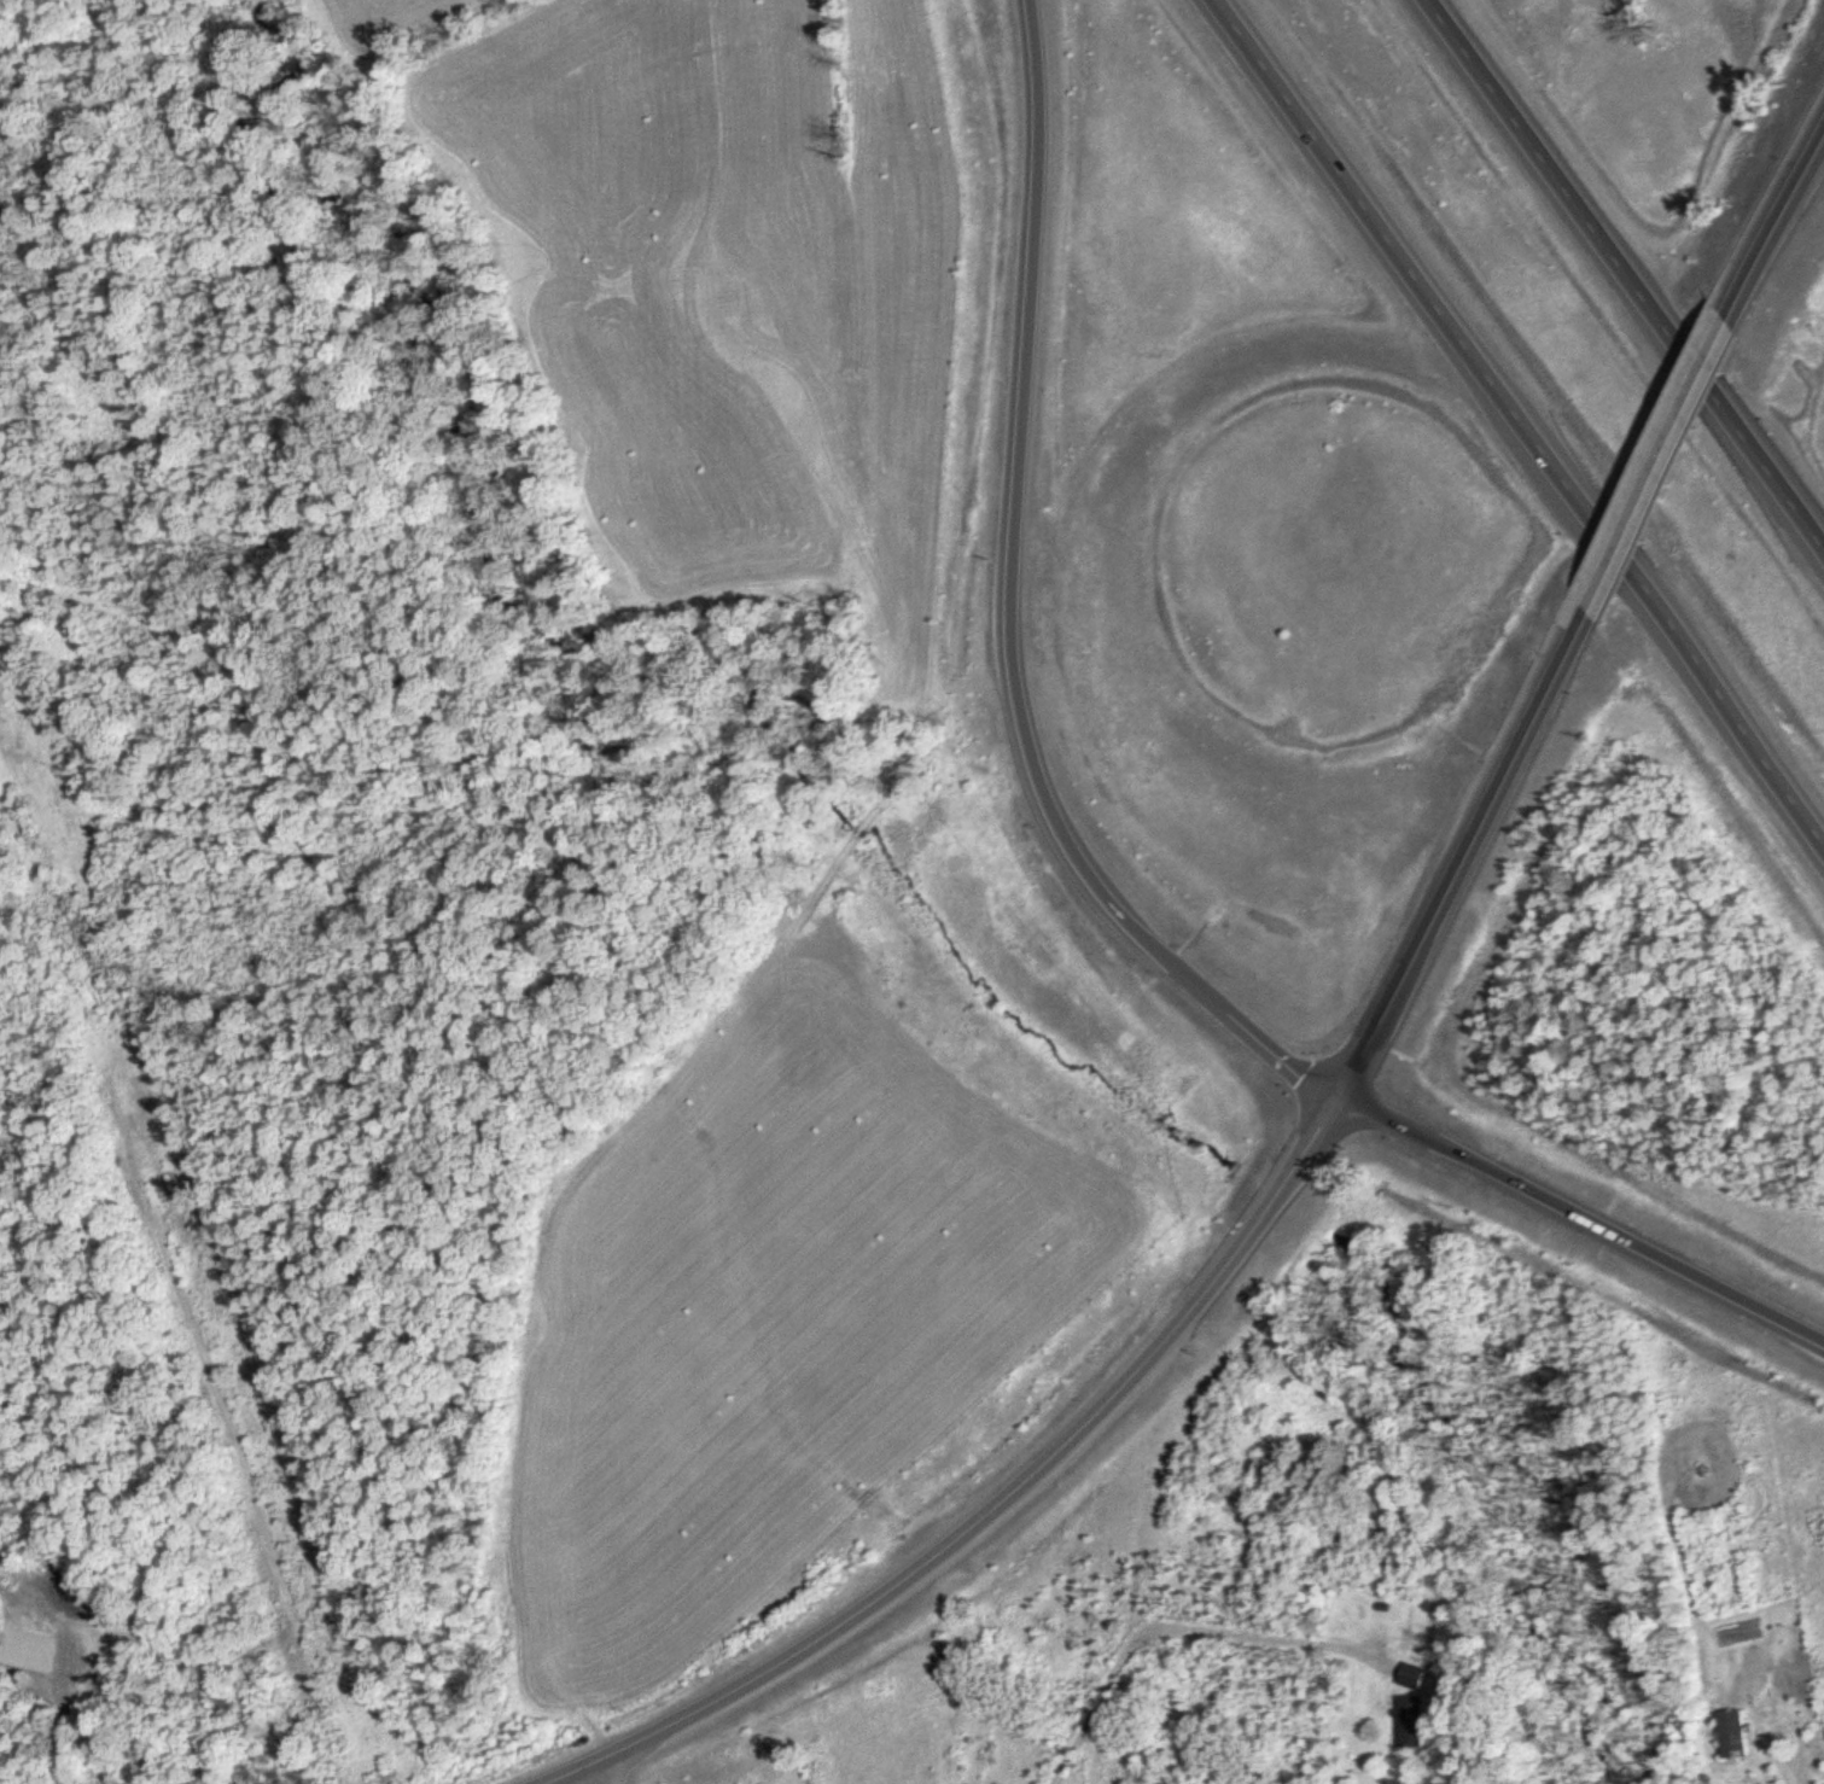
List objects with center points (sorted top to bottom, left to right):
road: (1776, 210)
road: (1627, 273)
road: (1526, 416)
road: (1665, 454)
road: (1107, 543)
road: (1012, 613)
road: (1474, 850)
road: (1586, 1214)
road: (1020, 1489)
road: (1179, 1623)
building: (1418, 1675)
building: (1415, 1720)
road: (567, 1774)
road: (601, 1774)
building: (1762, 1778)

